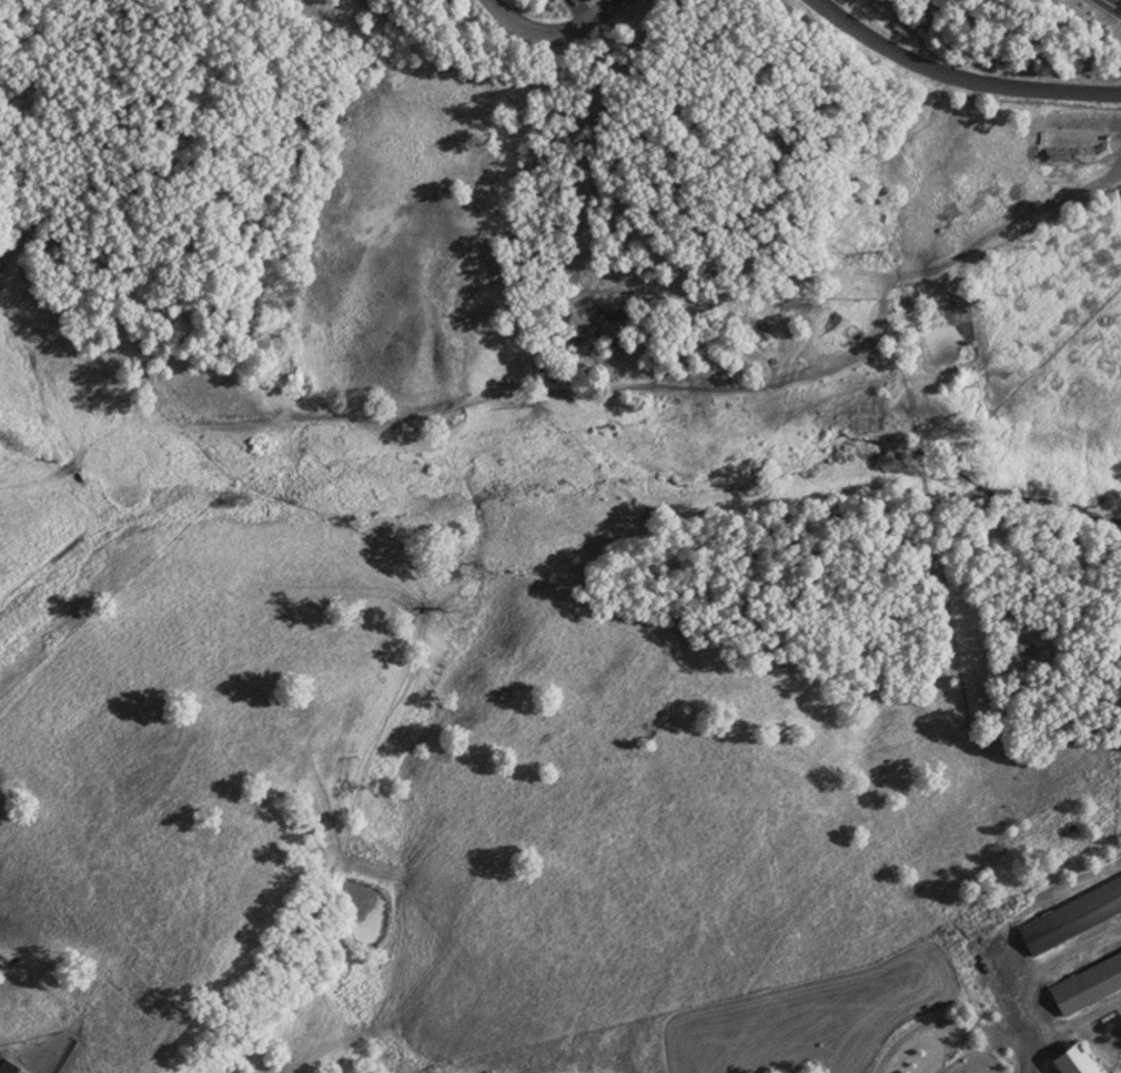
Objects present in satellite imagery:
building: (593, 0)
road: (1115, 2)
road: (555, 20)
road: (966, 73)
building: (1069, 911)
building: (1084, 979)
road: (952, 1018)
building: (1068, 1057)
building: (9, 1067)

